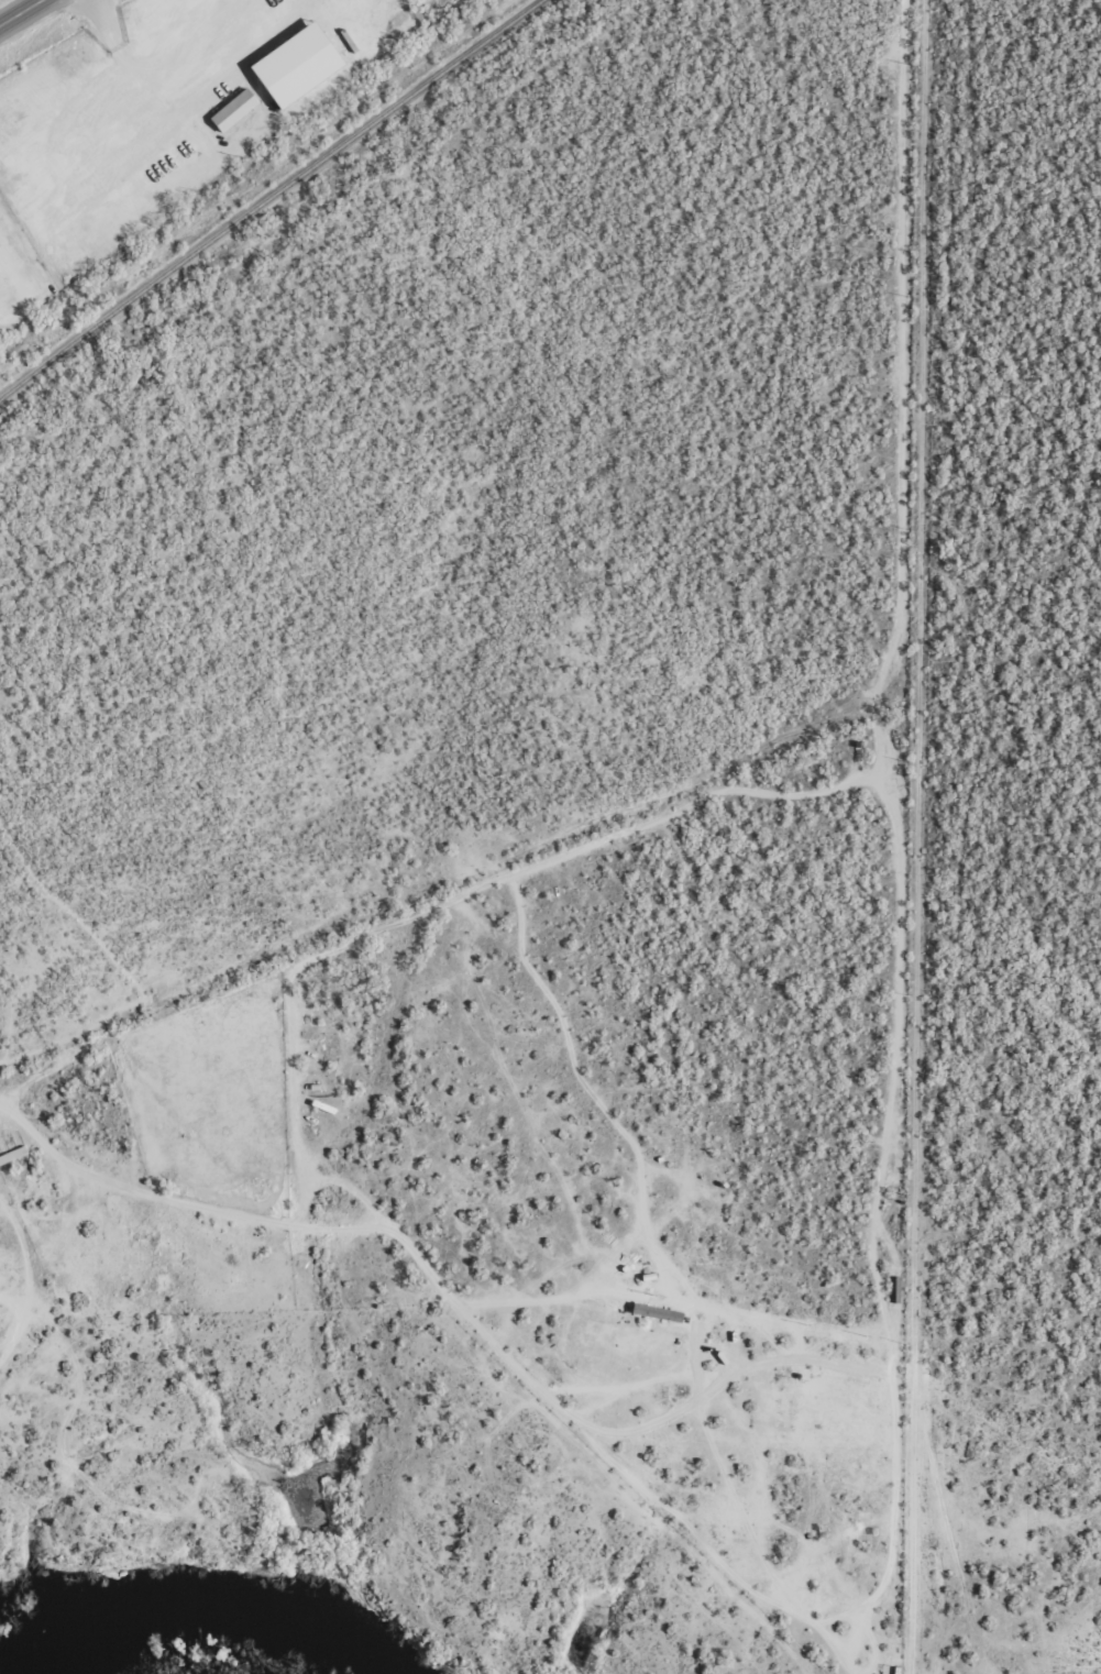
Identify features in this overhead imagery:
road: (33, 19)
building: (297, 65)
building: (234, 110)
railway: (266, 195)
road: (960, 836)
building: (658, 1313)
road: (888, 1387)
river: (210, 1617)

